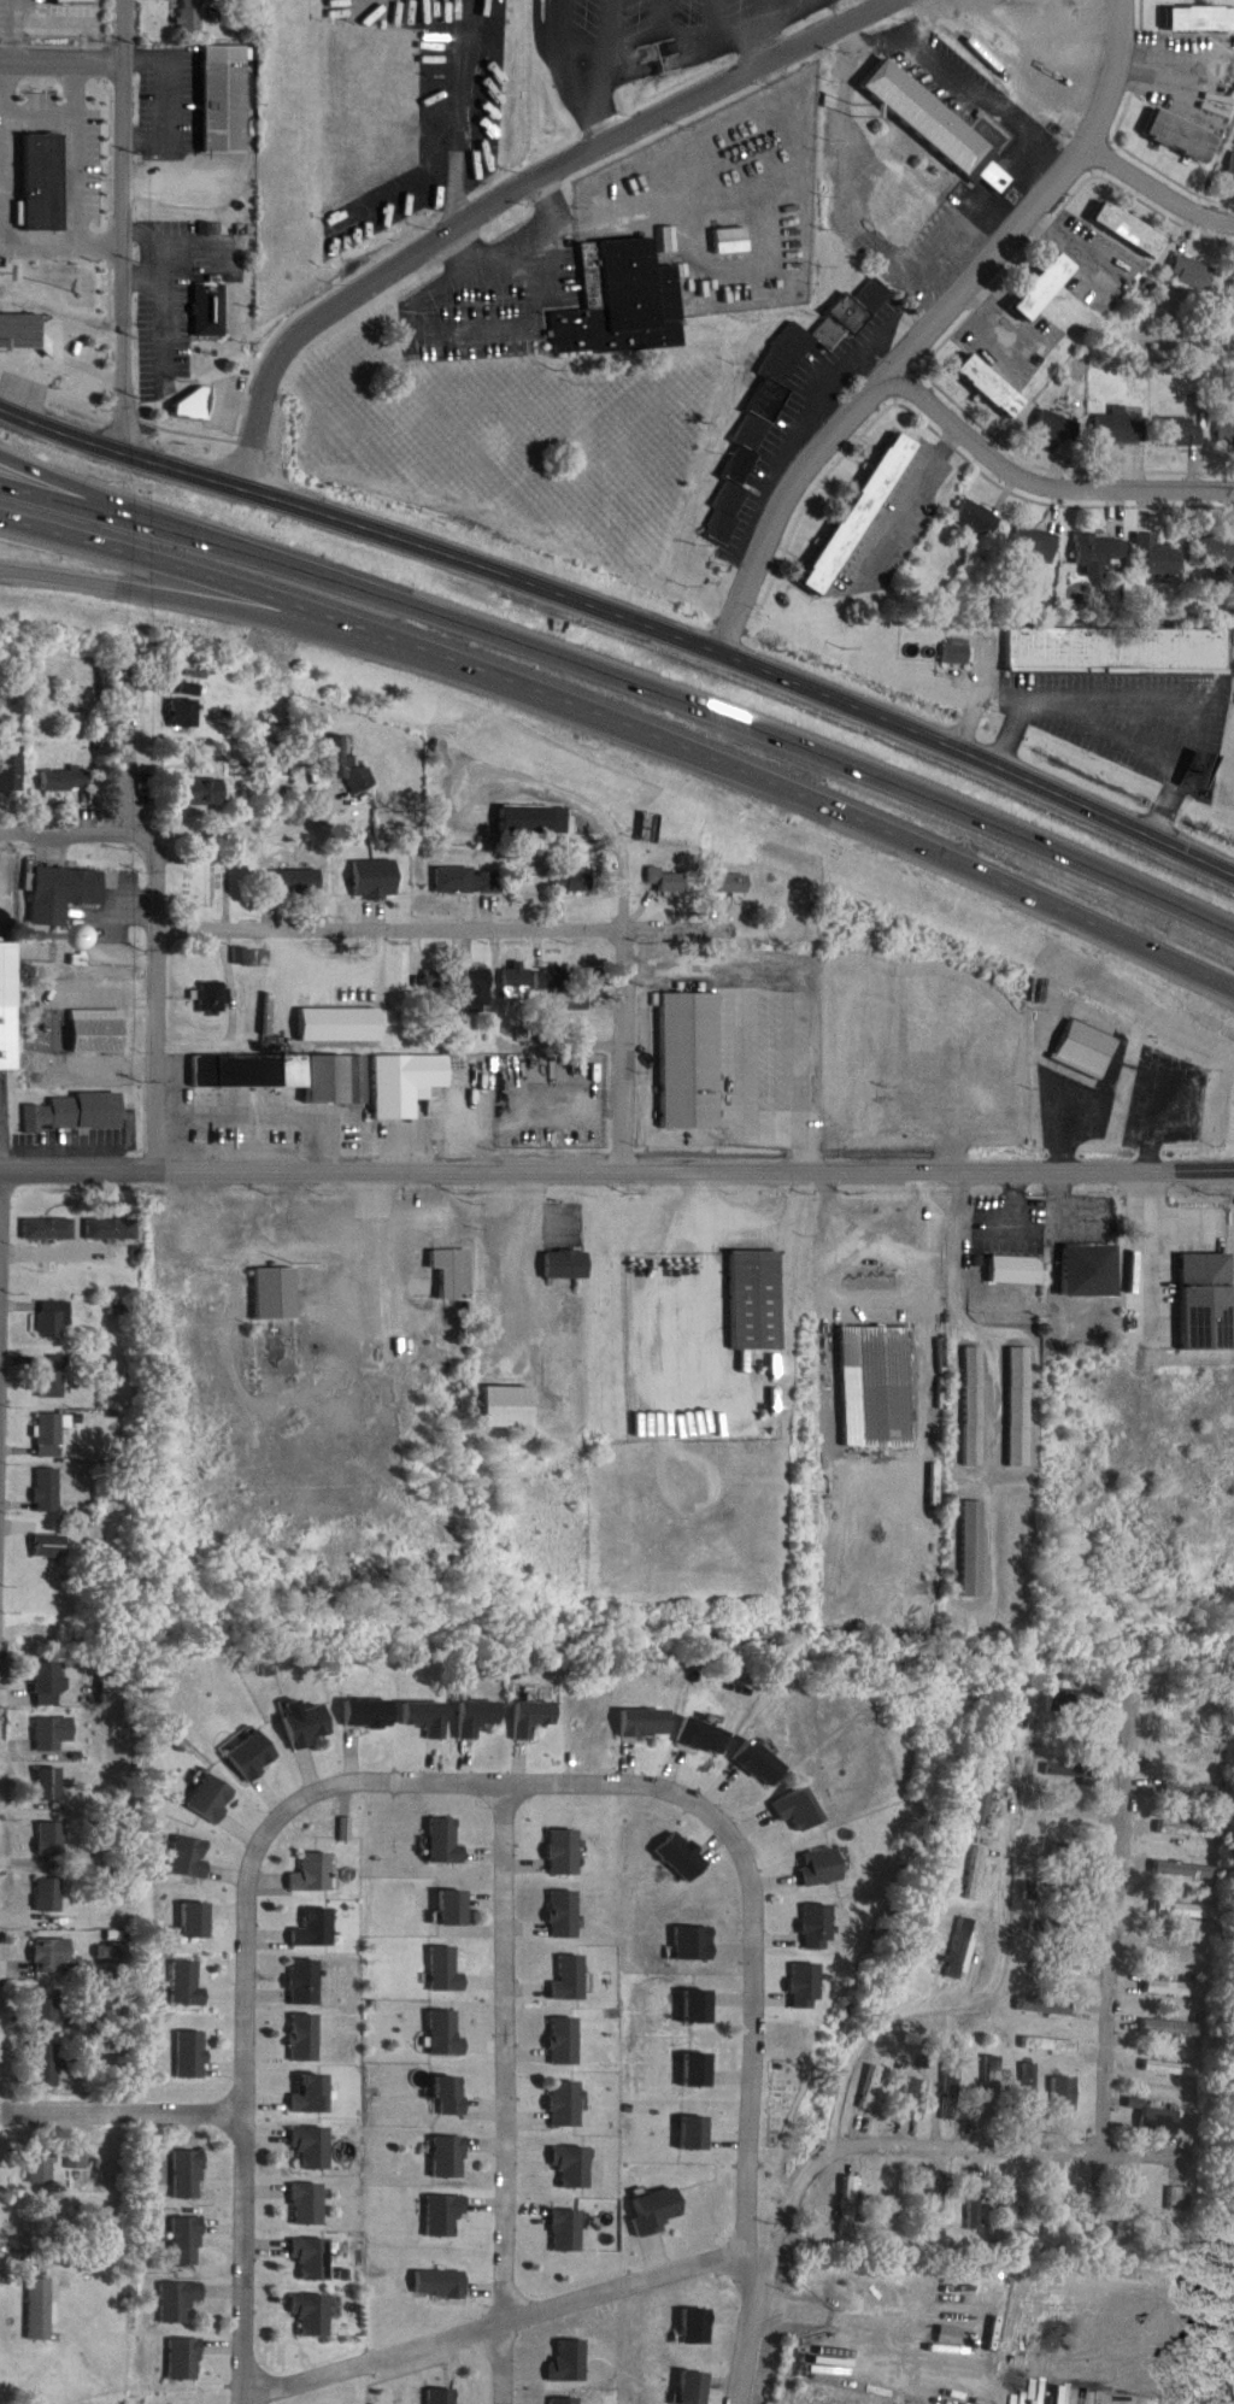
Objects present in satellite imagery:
building: (78, 1)
building: (193, 14)
road: (560, 16)
building: (1198, 18)
road: (763, 19)
road: (16, 30)
road: (586, 47)
road: (64, 61)
parking lot: (662, 61)
road: (611, 72)
road: (168, 94)
building: (229, 99)
building: (917, 99)
road: (39, 111)
road: (457, 114)
building: (1185, 135)
road: (76, 152)
building: (39, 167)
building: (1233, 167)
building: (991, 172)
road: (1159, 192)
road: (513, 195)
road: (1, 214)
road: (129, 228)
building: (1129, 229)
building: (734, 242)
building: (1195, 274)
building: (1047, 288)
building: (1233, 288)
building: (207, 294)
building: (624, 304)
building: (19, 315)
road: (77, 325)
road: (934, 329)
building: (23, 333)
building: (824, 334)
road: (57, 360)
road: (825, 388)
building: (994, 388)
building: (1059, 428)
building: (1123, 430)
building: (1185, 433)
building: (1227, 435)
road: (99, 478)
road: (1045, 483)
road: (907, 504)
building: (864, 516)
building: (979, 519)
road: (363, 531)
building: (728, 531)
building: (1038, 546)
building: (1101, 551)
building: (1216, 553)
building: (1162, 557)
road: (259, 617)
building: (1122, 652)
building: (962, 654)
road: (624, 677)
road: (1150, 698)
road: (980, 703)
building: (186, 716)
road: (627, 727)
road: (1112, 730)
road: (125, 746)
building: (340, 752)
road: (981, 763)
building: (12, 777)
building: (71, 782)
building: (207, 792)
road: (589, 809)
road: (234, 819)
road: (128, 821)
building: (534, 821)
building: (375, 881)
building: (468, 882)
building: (574, 883)
building: (295, 884)
building: (729, 889)
building: (66, 894)
water tower: (47, 927)
road: (445, 935)
road: (800, 978)
building: (437, 980)
building: (357, 981)
building: (535, 982)
road: (286, 989)
building: (478, 989)
building: (212, 999)
building: (11, 1007)
building: (340, 1027)
building: (100, 1033)
road: (628, 1045)
road: (163, 1048)
building: (1091, 1050)
building: (691, 1063)
road: (750, 1072)
building: (339, 1080)
building: (80, 1115)
road: (1133, 1158)
road: (516, 1160)
building: (113, 1230)
building: (48, 1232)
road: (1147, 1238)
road: (882, 1239)
road: (530, 1248)
building: (570, 1265)
road: (711, 1266)
building: (1019, 1271)
building: (1092, 1272)
building: (457, 1275)
building: (1197, 1285)
road: (363, 1287)
building: (280, 1297)
building: (760, 1303)
road: (1, 1313)
building: (54, 1321)
building: (54, 1380)
building: (877, 1388)
building: (975, 1407)
building: (1019, 1409)
building: (53, 1436)
building: (51, 1492)
building: (315, 1499)
building: (54, 1547)
building: (974, 1550)
building: (53, 1683)
building: (1074, 1701)
building: (1197, 1710)
building: (369, 1714)
building: (478, 1718)
building: (534, 1718)
building: (647, 1723)
building: (310, 1728)
building: (55, 1734)
building: (705, 1736)
building: (1188, 1753)
building: (257, 1757)
building: (1064, 1771)
building: (51, 1783)
road: (570, 1785)
building: (1188, 1792)
building: (986, 1795)
building: (215, 1798)
building: (799, 1810)
building: (1073, 1811)
building: (1187, 1830)
building: (52, 1839)
building: (449, 1840)
building: (569, 1852)
building: (192, 1856)
building: (684, 1857)
building: (1065, 1857)
building: (822, 1867)
building: (1182, 1870)
building: (317, 1874)
building: (977, 1874)
building: (49, 1897)
building: (458, 1908)
building: (1183, 1911)
building: (568, 1914)
building: (198, 1920)
building: (817, 1927)
road: (1113, 1928)
building: (319, 1929)
building: (1056, 1929)
building: (694, 1944)
building: (964, 1950)
building: (1179, 1950)
building: (54, 1958)
building: (1057, 1970)
building: (448, 1971)
building: (574, 1979)
building: (308, 1982)
building: (189, 1985)
building: (804, 1986)
building: (1176, 1989)
road: (941, 2002)
building: (49, 2009)
building: (1047, 2009)
building: (1171, 2029)
building: (448, 2035)
building: (308, 2038)
building: (566, 2041)
building: (1051, 2046)
building: (194, 2055)
building: (51, 2065)
building: (1170, 2069)
building: (1029, 2081)
building: (992, 2087)
building: (911, 2088)
building: (951, 2091)
road: (509, 2094)
building: (1065, 2094)
building: (315, 2096)
building: (452, 2097)
road: (123, 2100)
building: (566, 2105)
building: (315, 2147)
road: (993, 2149)
building: (449, 2158)
building: (80, 2161)
building: (42, 2167)
building: (574, 2167)
building: (190, 2174)
building: (891, 2198)
building: (310, 2205)
building: (935, 2205)
building: (847, 2206)
building: (971, 2209)
building: (1051, 2209)
building: (1087, 2210)
building: (1126, 2210)
building: (658, 2212)
building: (1009, 2212)
building: (1174, 2215)
building: (443, 2216)
building: (568, 2232)
building: (190, 2241)
road: (245, 2252)
building: (313, 2258)
road: (764, 2277)
building: (440, 2285)
building: (182, 2303)
road: (512, 2306)
road: (863, 2308)
building: (42, 2310)
building: (313, 2315)
building: (698, 2327)
building: (188, 2361)
building: (698, 2388)
building: (441, 2397)
building: (566, 2400)

